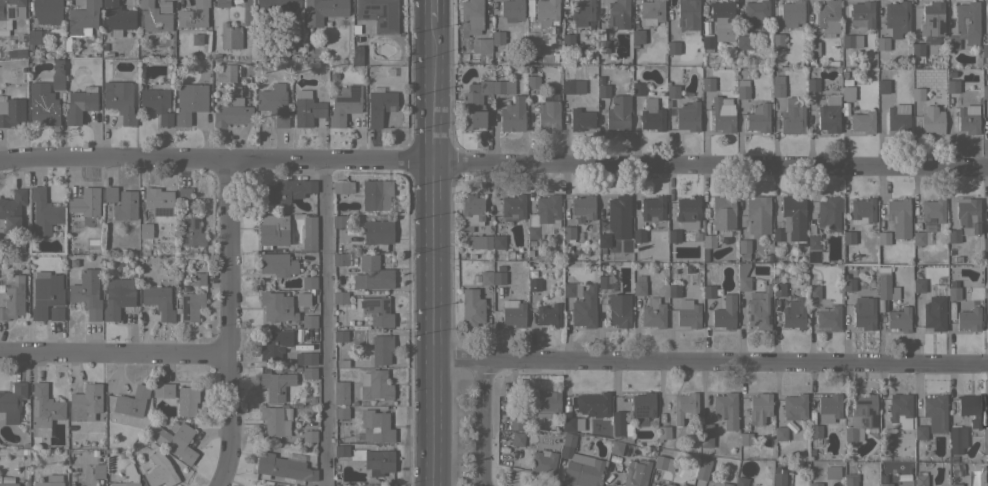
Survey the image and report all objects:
building: (222, 3)
building: (164, 6)
building: (274, 8)
building: (323, 10)
building: (511, 10)
building: (47, 11)
building: (581, 11)
building: (651, 12)
building: (8, 13)
rooftop solar panel: (9, 13)
building: (791, 13)
building: (378, 14)
building: (618, 14)
building: (755, 14)
building: (193, 15)
building: (861, 15)
building: (471, 16)
building: (828, 16)
building: (83, 17)
building: (117, 17)
building: (897, 17)
building: (154, 18)
building: (688, 19)
building: (722, 19)
building: (932, 19)
rooftop solar panel: (933, 22)
building: (965, 25)
rooftop solar panel: (941, 26)
building: (532, 31)
building: (230, 36)
building: (637, 36)
building: (33, 37)
building: (497, 37)
building: (929, 39)
building: (567, 41)
building: (776, 41)
building: (851, 41)
building: (707, 43)
building: (742, 43)
building: (882, 43)
building: (481, 45)
building: (602, 46)
building: (672, 47)
building: (812, 48)
building: (917, 49)
building: (984, 49)
building: (20, 53)
building: (226, 73)
building: (57, 81)
building: (532, 81)
building: (707, 83)
building: (812, 84)
building: (572, 86)
building: (777, 86)
building: (882, 86)
building: (952, 86)
building: (637, 88)
building: (602, 89)
building: (671, 90)
building: (742, 92)
building: (984, 92)
building: (847, 93)
building: (917, 94)
building: (119, 100)
building: (189, 101)
building: (480, 102)
building: (156, 103)
building: (274, 103)
building: (42, 104)
building: (80, 104)
building: (344, 104)
building: (379, 105)
building: (306, 108)
building: (11, 111)
building: (547, 112)
building: (231, 113)
building: (618, 113)
building: (722, 114)
building: (829, 114)
building: (513, 115)
building: (651, 115)
building: (687, 116)
building: (758, 117)
building: (792, 117)
building: (898, 118)
building: (581, 119)
building: (931, 120)
building: (862, 122)
building: (967, 122)
road: (493, 160)
building: (342, 186)
building: (286, 190)
building: (110, 194)
building: (183, 194)
building: (375, 194)
building: (158, 201)
building: (84, 205)
building: (125, 205)
building: (512, 207)
building: (582, 208)
building: (652, 208)
building: (687, 209)
building: (933, 209)
building: (12, 210)
building: (861, 210)
rooftop solar panel: (163, 211)
building: (43, 212)
building: (470, 212)
building: (722, 212)
building: (828, 213)
building: (542, 214)
building: (757, 214)
building: (967, 215)
building: (898, 217)
building: (618, 218)
building: (339, 221)
building: (790, 221)
rooftop solar panel: (184, 223)
rooftop solar panel: (193, 223)
rooftop solar panel: (929, 229)
building: (145, 230)
building: (273, 230)
building: (191, 231)
building: (377, 232)
building: (309, 233)
building: (568, 233)
building: (638, 235)
building: (673, 235)
building: (953, 235)
building: (848, 237)
building: (883, 238)
building: (918, 238)
rooftop solar panel: (188, 239)
building: (603, 240)
building: (479, 241)
building: (708, 241)
building: (498, 242)
road: (430, 243)
building: (984, 243)
building: (743, 248)
building: (813, 249)
building: (340, 259)
building: (277, 264)
building: (372, 274)
building: (742, 276)
building: (486, 277)
building: (197, 278)
building: (498, 278)
building: (603, 281)
building: (308, 282)
building: (985, 283)
building: (533, 284)
building: (848, 284)
building: (638, 285)
building: (918, 285)
building: (883, 286)
building: (778, 287)
building: (571, 289)
building: (673, 290)
building: (708, 291)
building: (813, 292)
building: (45, 293)
building: (86, 293)
building: (953, 293)
building: (117, 297)
building: (339, 297)
building: (12, 298)
building: (303, 298)
building: (158, 301)
building: (190, 306)
building: (276, 307)
building: (471, 307)
rooftop solar panel: (184, 308)
building: (584, 308)
building: (759, 308)
building: (619, 309)
building: (375, 310)
building: (512, 312)
building: (653, 312)
building: (56, 313)
building: (688, 313)
building: (724, 313)
building: (864, 313)
building: (934, 313)
building: (793, 314)
building: (548, 315)
building: (828, 317)
building: (968, 319)
building: (898, 320)
building: (309, 321)
road: (233, 322)
road: (325, 322)
building: (358, 334)
building: (340, 335)
building: (271, 345)
building: (381, 348)
road: (116, 354)
building: (307, 358)
road: (709, 362)
building: (307, 371)
building: (275, 385)
building: (374, 385)
building: (340, 392)
building: (179, 397)
building: (85, 401)
building: (131, 401)
building: (12, 402)
building: (548, 404)
building: (593, 404)
building: (643, 404)
building: (794, 406)
building: (899, 406)
building: (44, 407)
building: (684, 407)
building: (759, 408)
building: (828, 408)
building: (725, 409)
building: (970, 409)
building: (341, 412)
rooftop solar panel: (641, 412)
building: (935, 412)
building: (275, 419)
building: (860, 419)
road: (490, 423)
building: (516, 423)
building: (569, 424)
building: (376, 425)
building: (618, 427)
building: (814, 431)
building: (663, 432)
building: (920, 432)
building: (780, 433)
building: (705, 434)
building: (307, 435)
building: (517, 438)
building: (745, 438)
building: (174, 439)
building: (956, 439)
building: (986, 441)
building: (884, 442)
building: (616, 446)
building: (341, 450)
building: (379, 461)
building: (544, 462)
building: (663, 463)
building: (579, 465)
building: (282, 467)
building: (157, 469)
building: (702, 469)
building: (98, 471)
building: (831, 472)
building: (128, 477)
building: (633, 477)
building: (778, 478)
building: (850, 479)
building: (920, 480)
building: (50, 481)
building: (740, 481)
building: (718, 483)
building: (986, 483)
building: (8, 484)
building: (668, 484)
building: (815, 484)
building: (885, 484)
building: (955, 484)
building: (266, 485)
building: (273, 485)
building: (683, 485)

